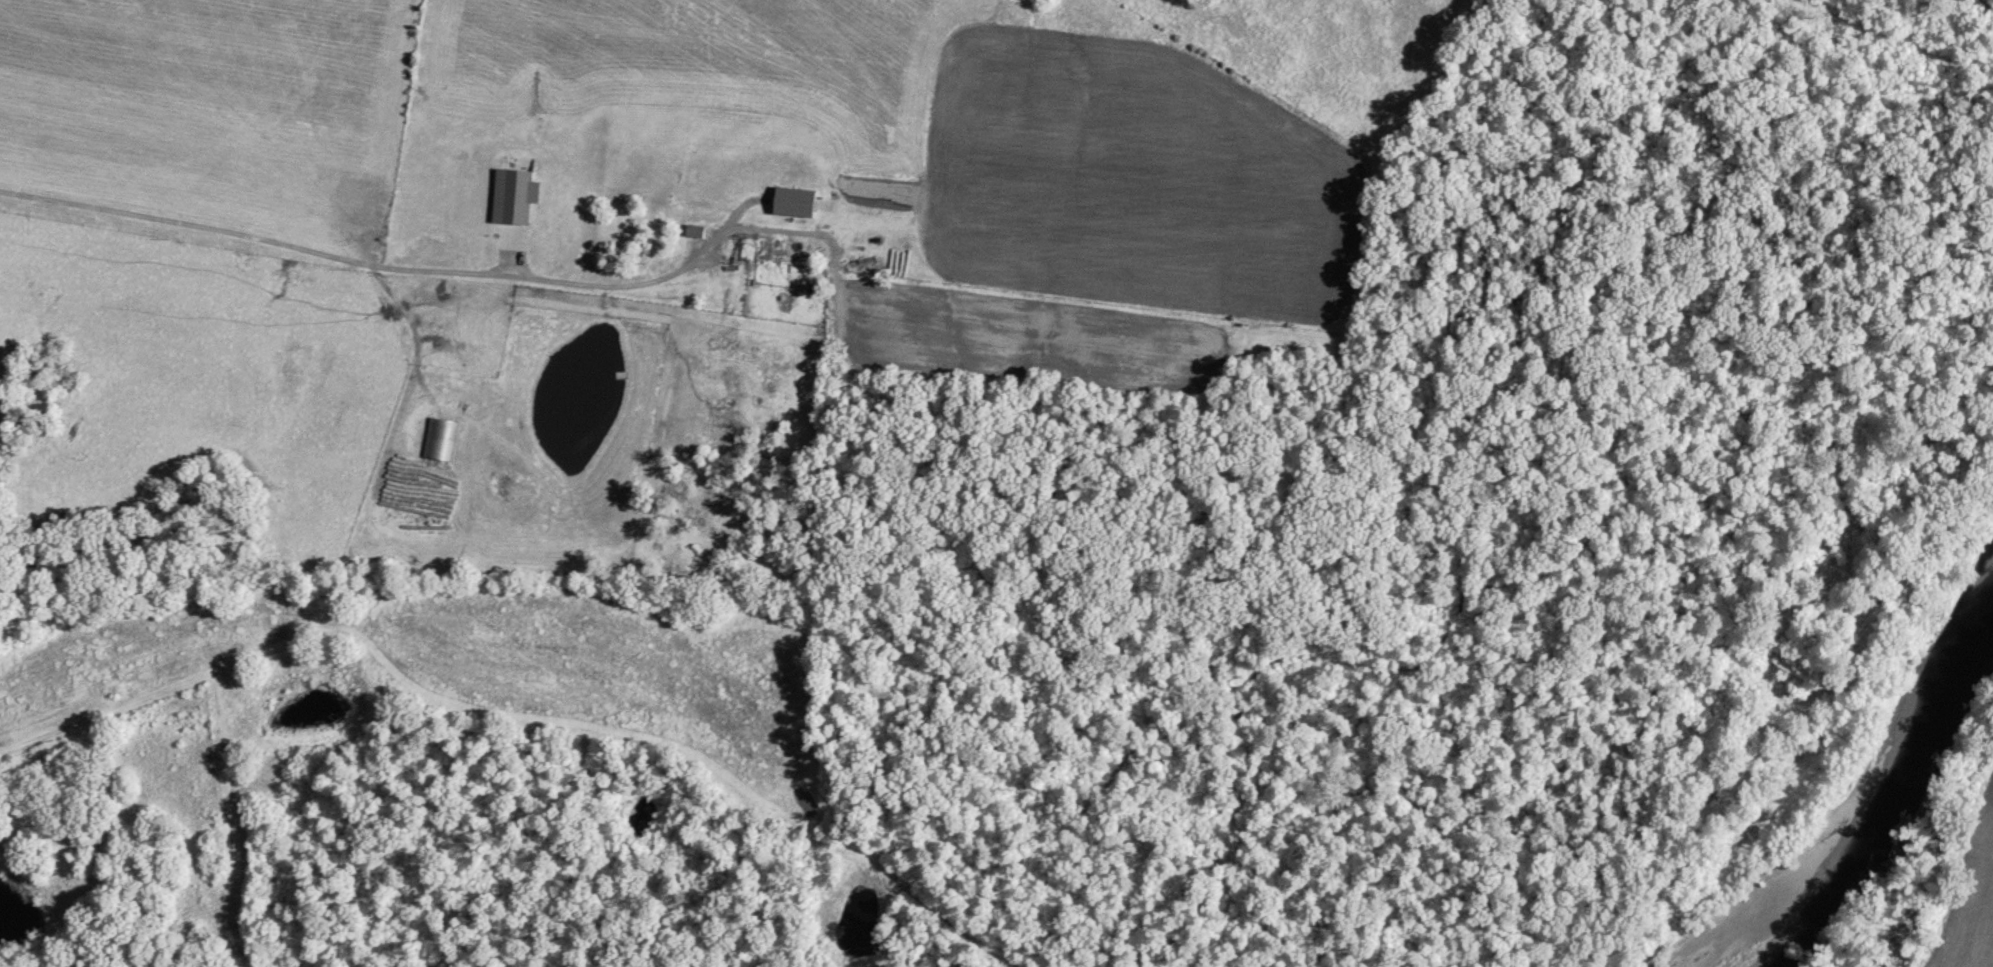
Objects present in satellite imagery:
building: (509, 195)
building: (794, 201)
building: (693, 230)
road: (377, 268)
building: (440, 439)
river: (1870, 784)

